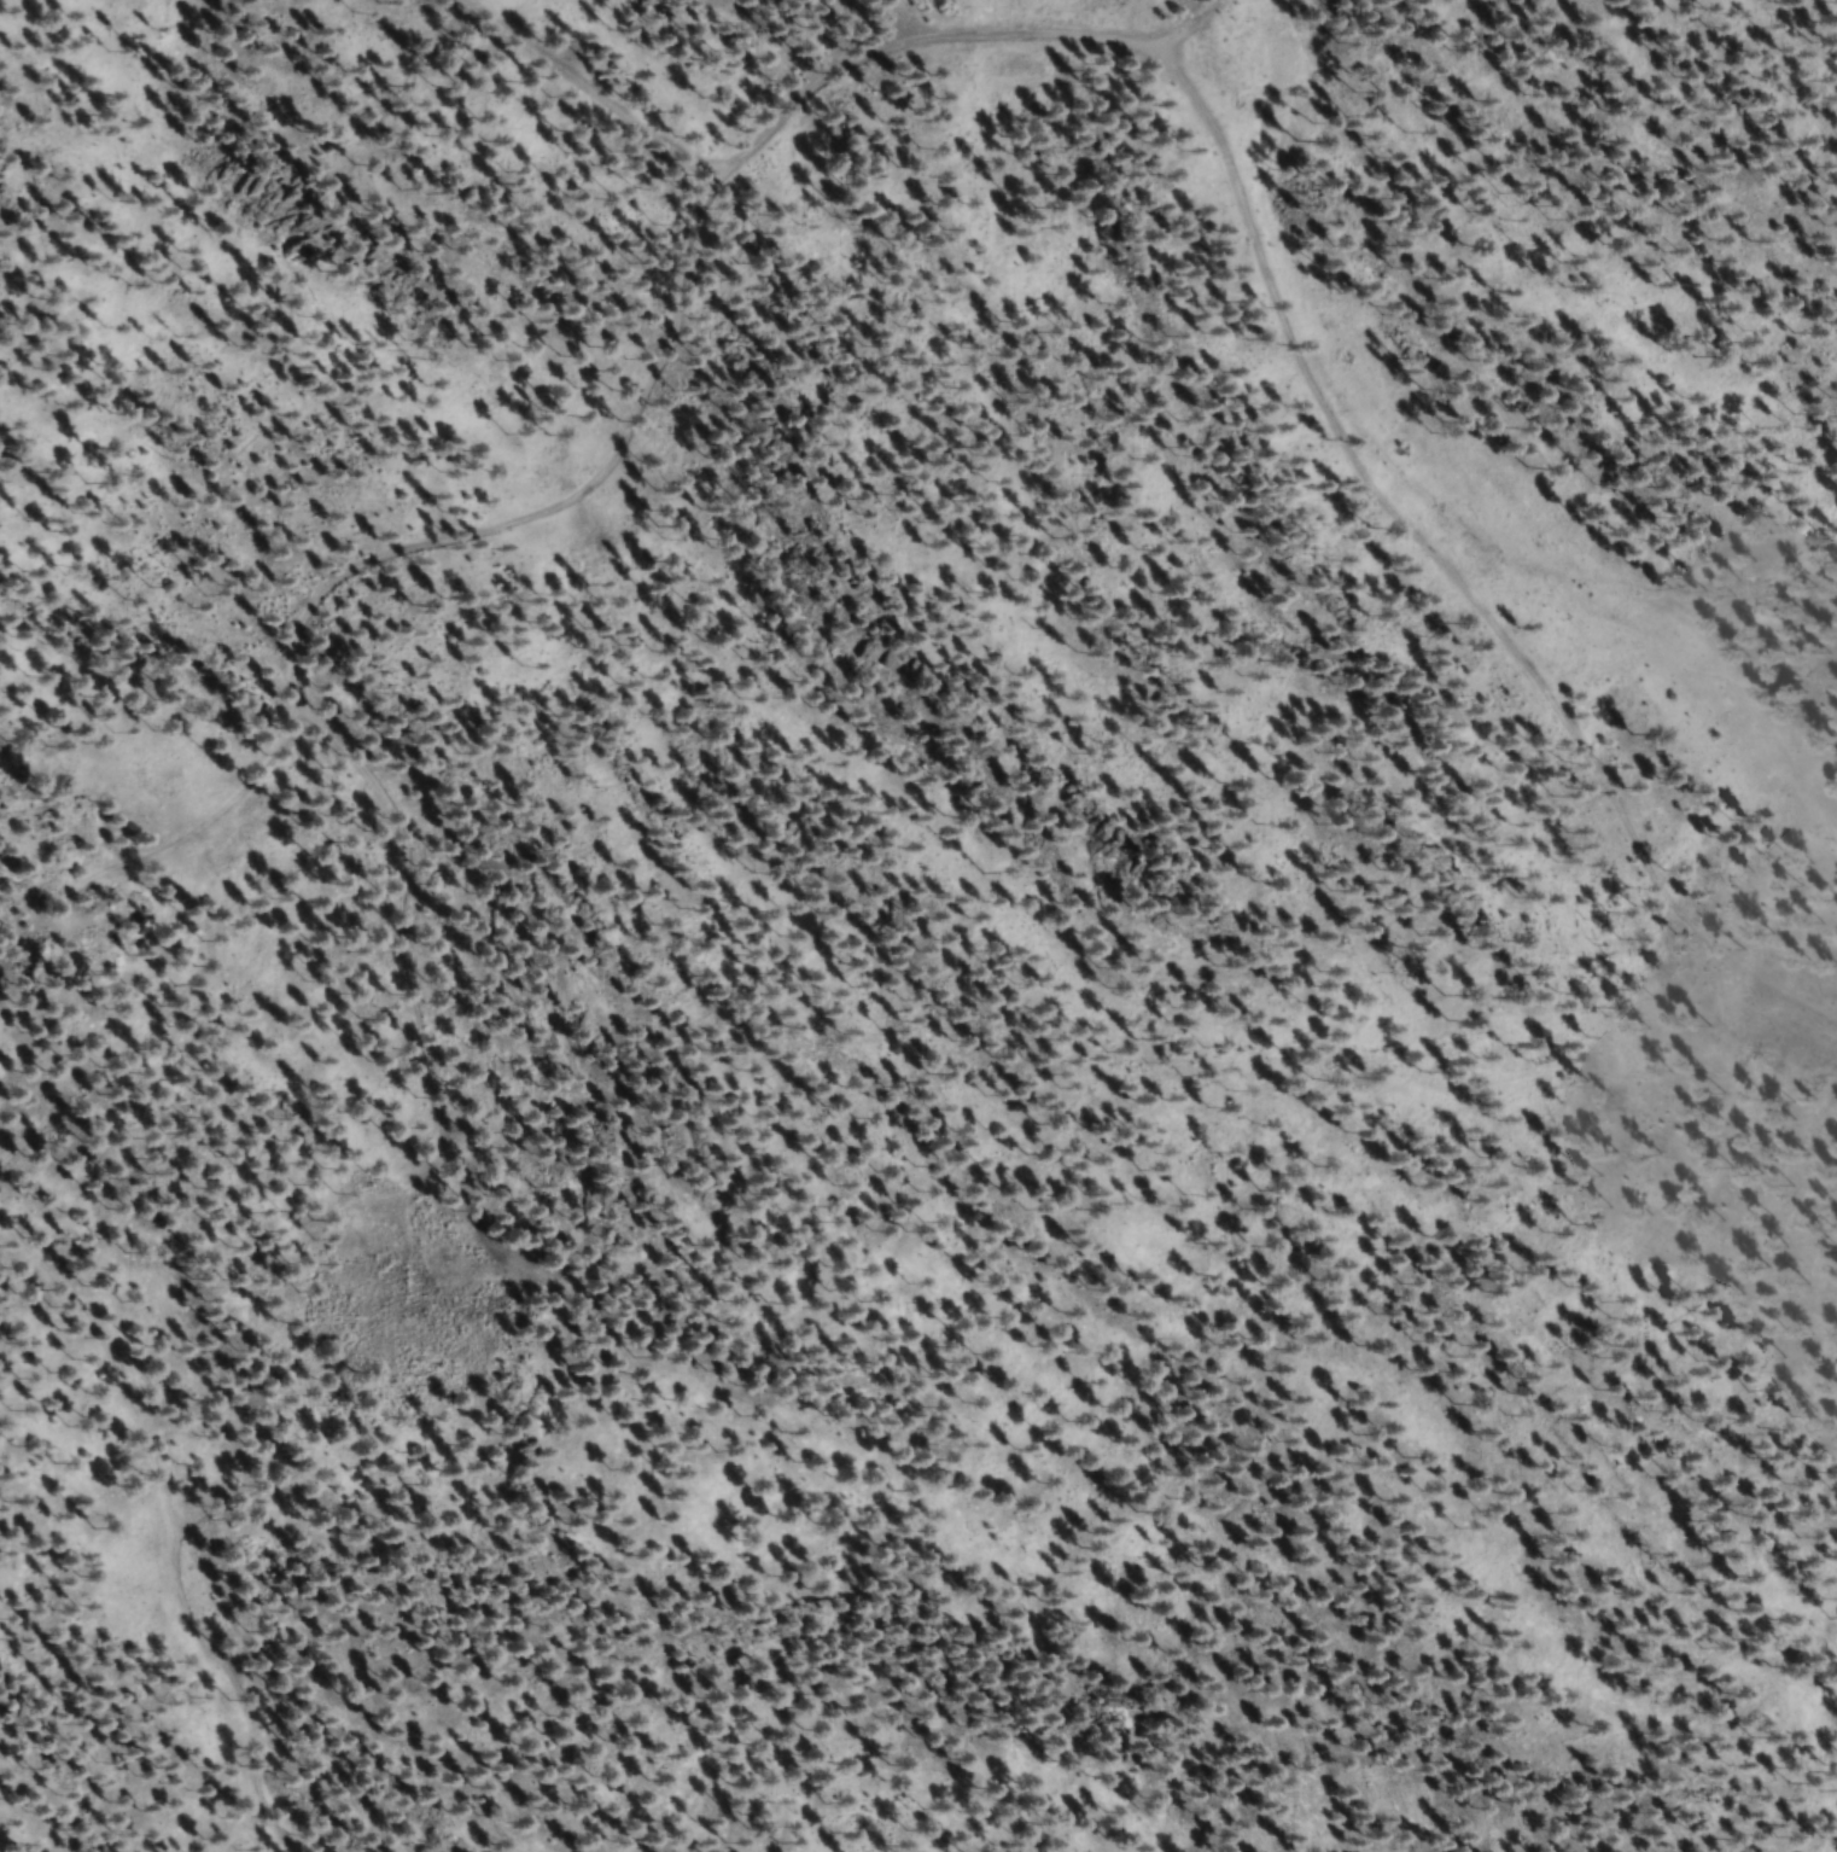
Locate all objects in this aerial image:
road: (587, 88)
road: (1442, 570)
road: (330, 577)
mineshaft: (18, 851)
road: (171, 1537)

